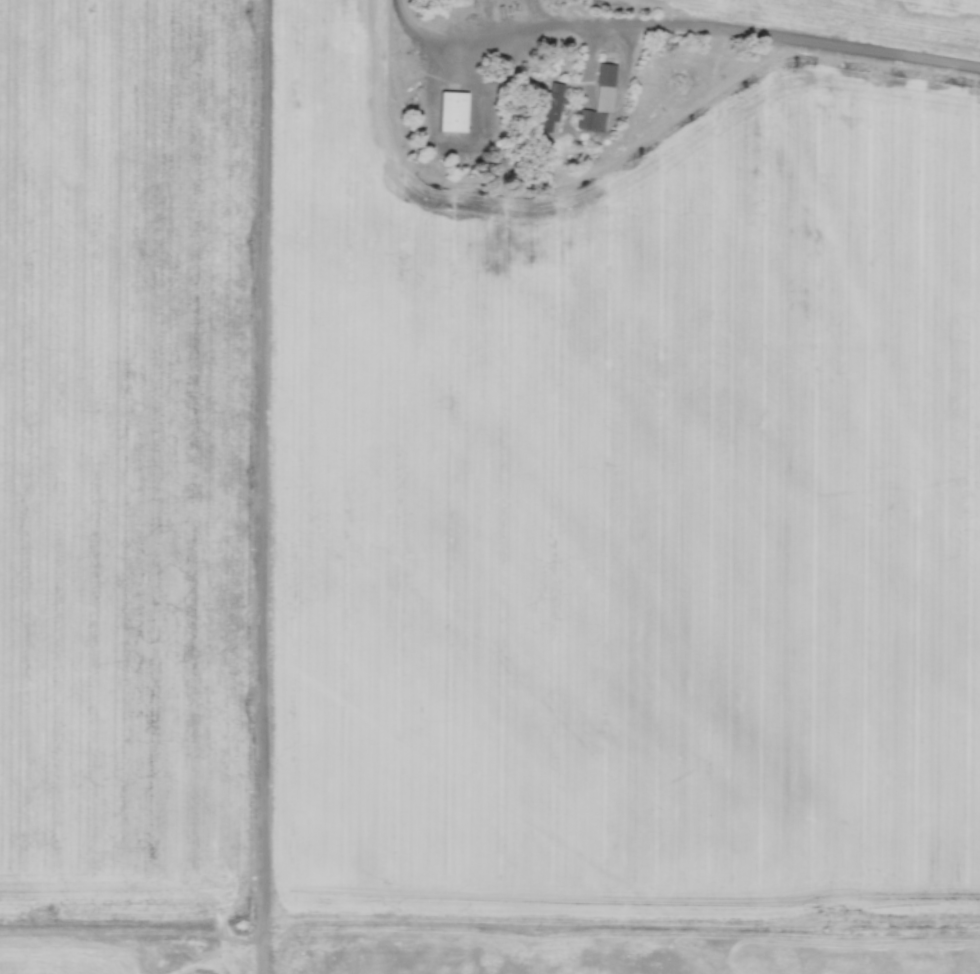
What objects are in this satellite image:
road: (679, 23)
building: (605, 81)
building: (451, 111)
road: (261, 459)

